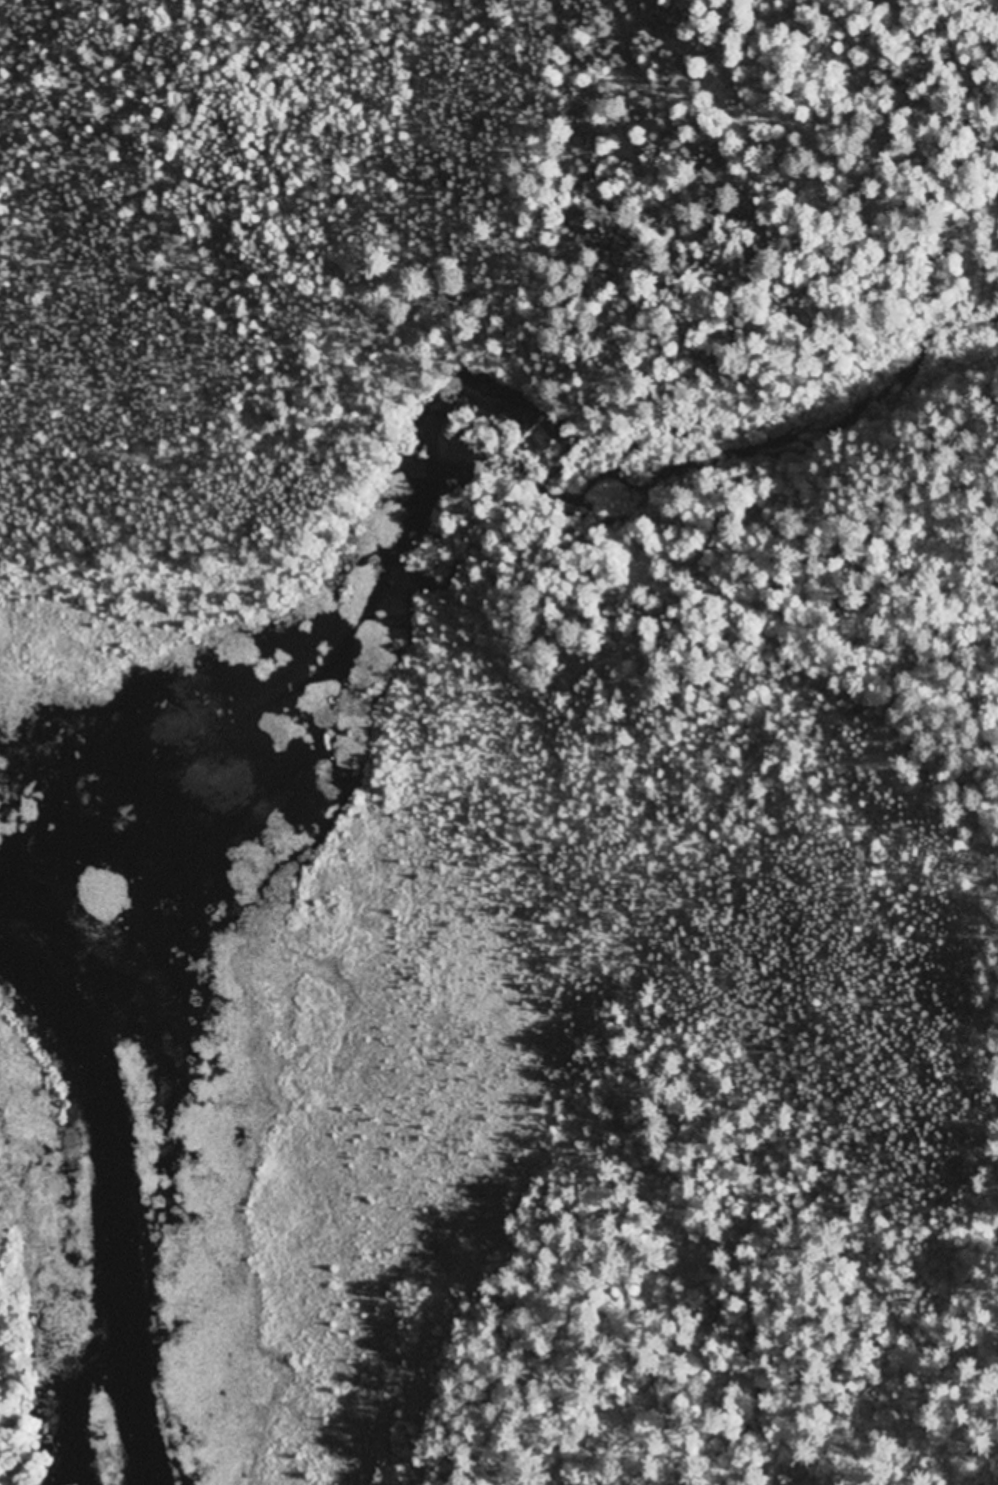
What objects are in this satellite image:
river: (43, 899)
river: (140, 1184)

